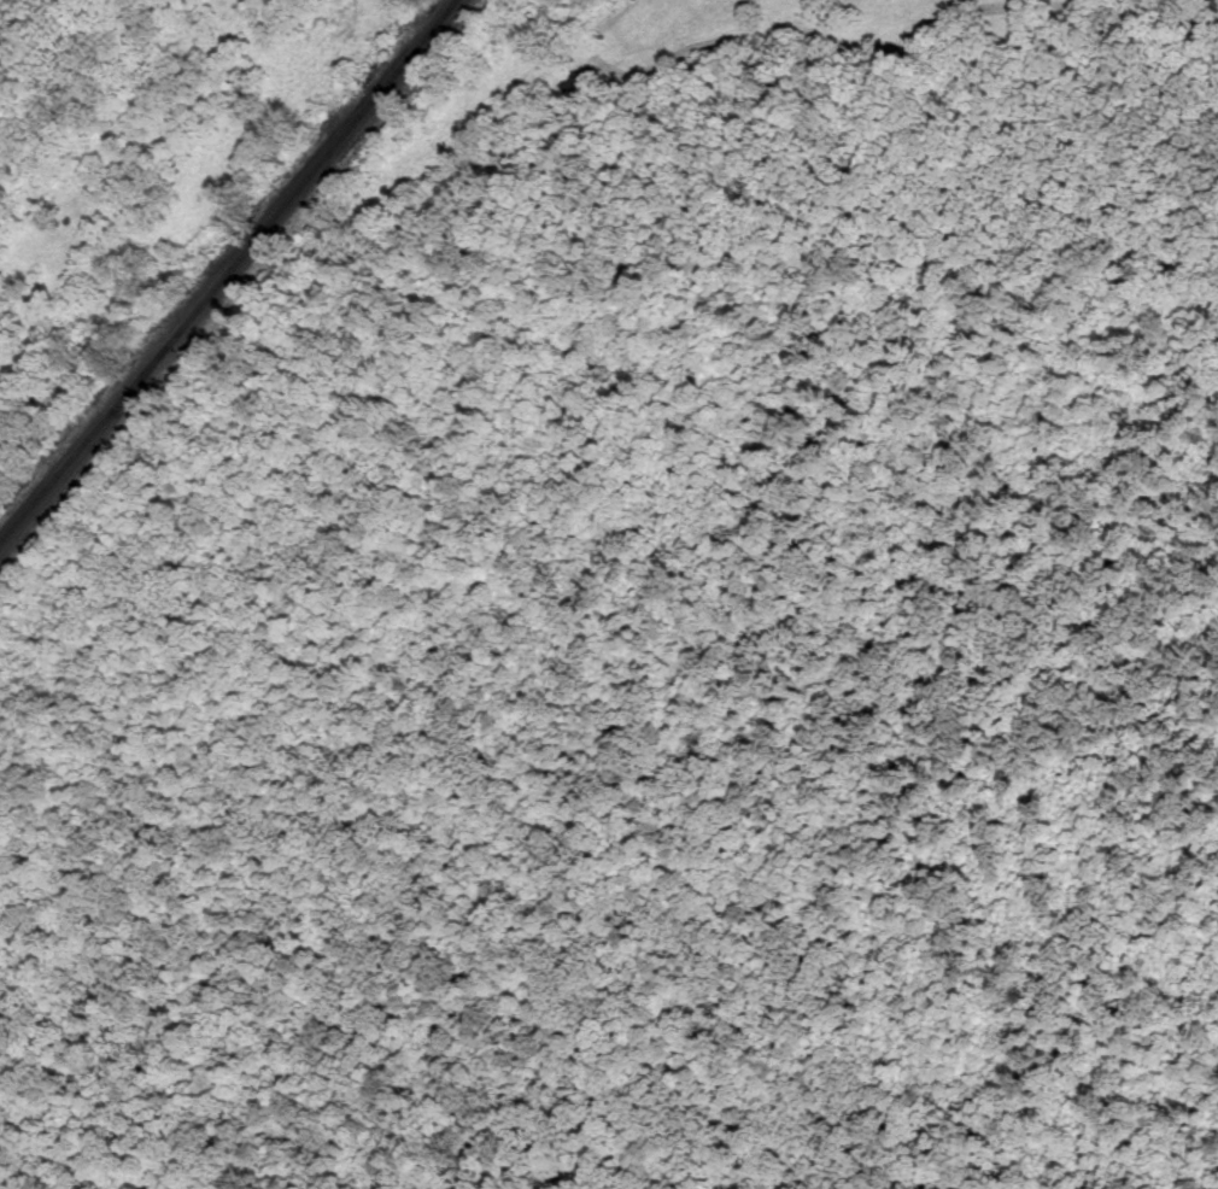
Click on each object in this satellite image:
railway: (230, 271)
railway: (72, 473)

